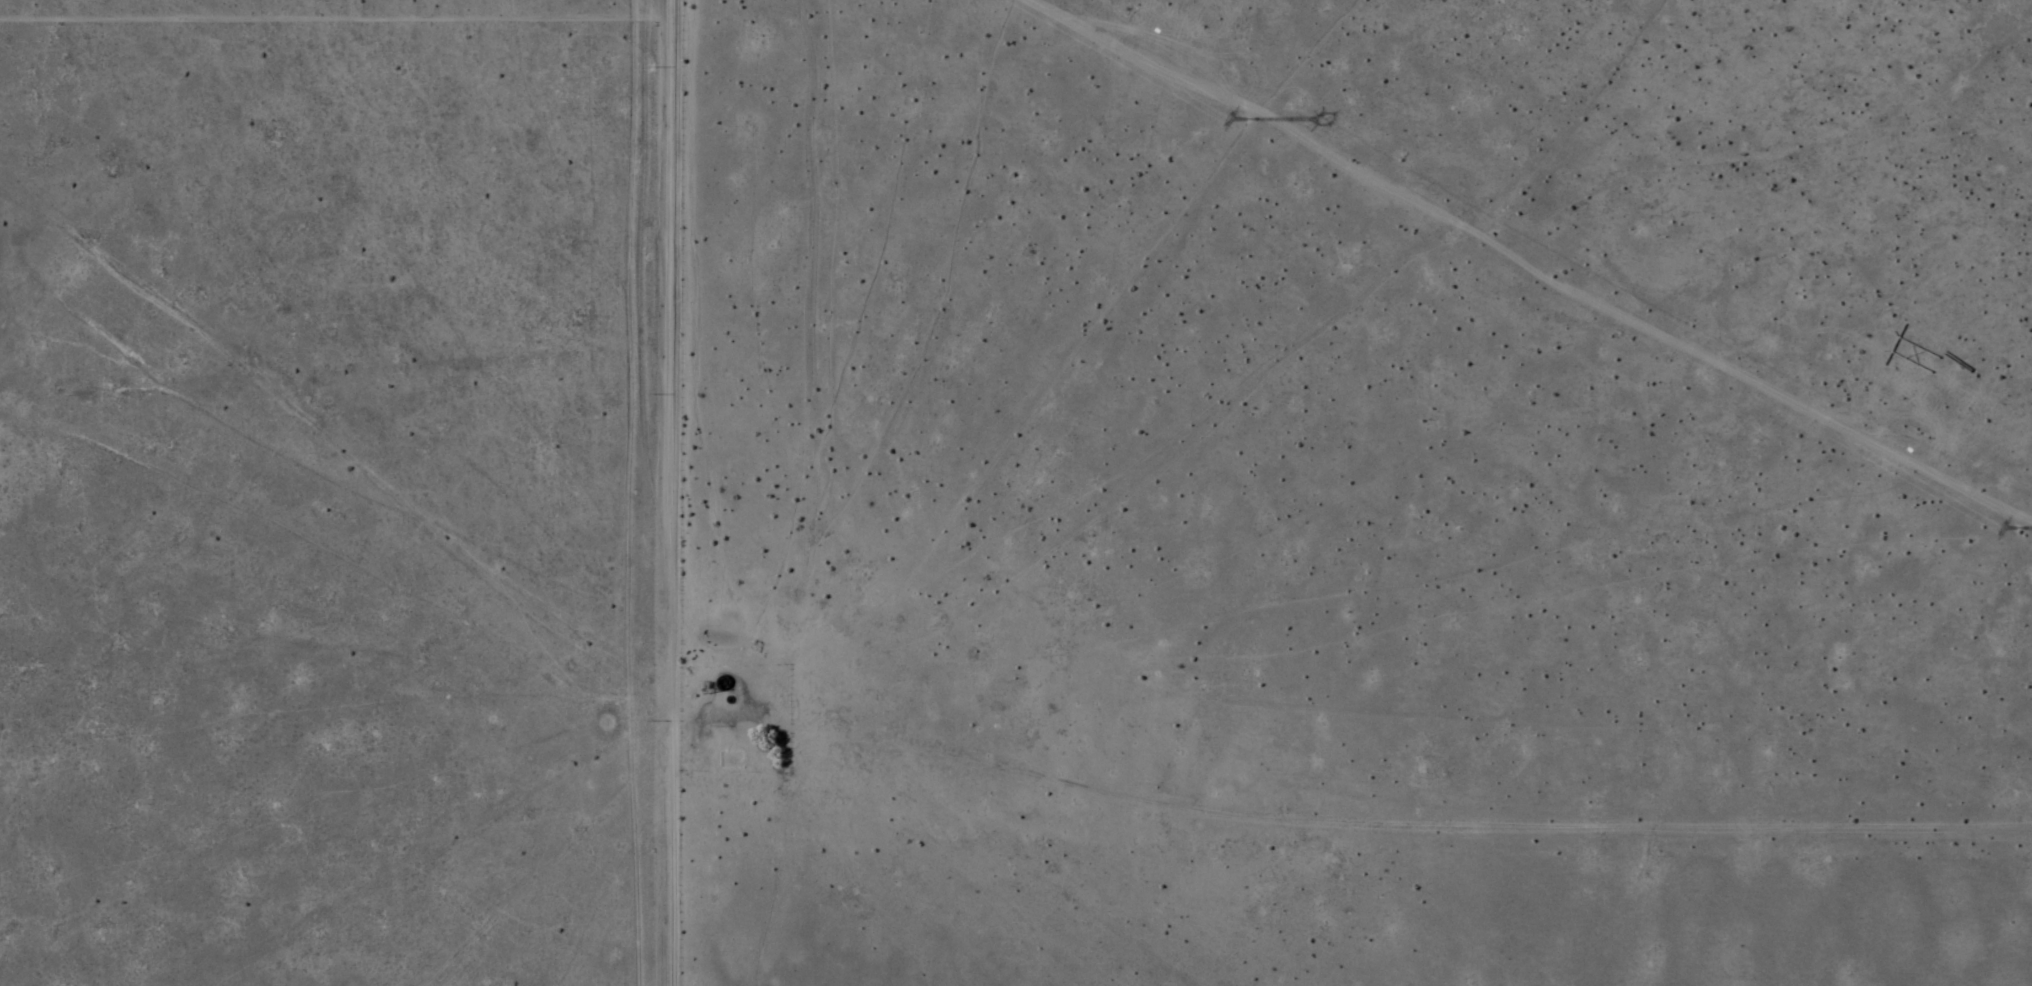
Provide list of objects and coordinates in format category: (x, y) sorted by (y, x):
power tower: (1246, 118)
road: (654, 493)
power tower: (2015, 527)
road: (1334, 819)

